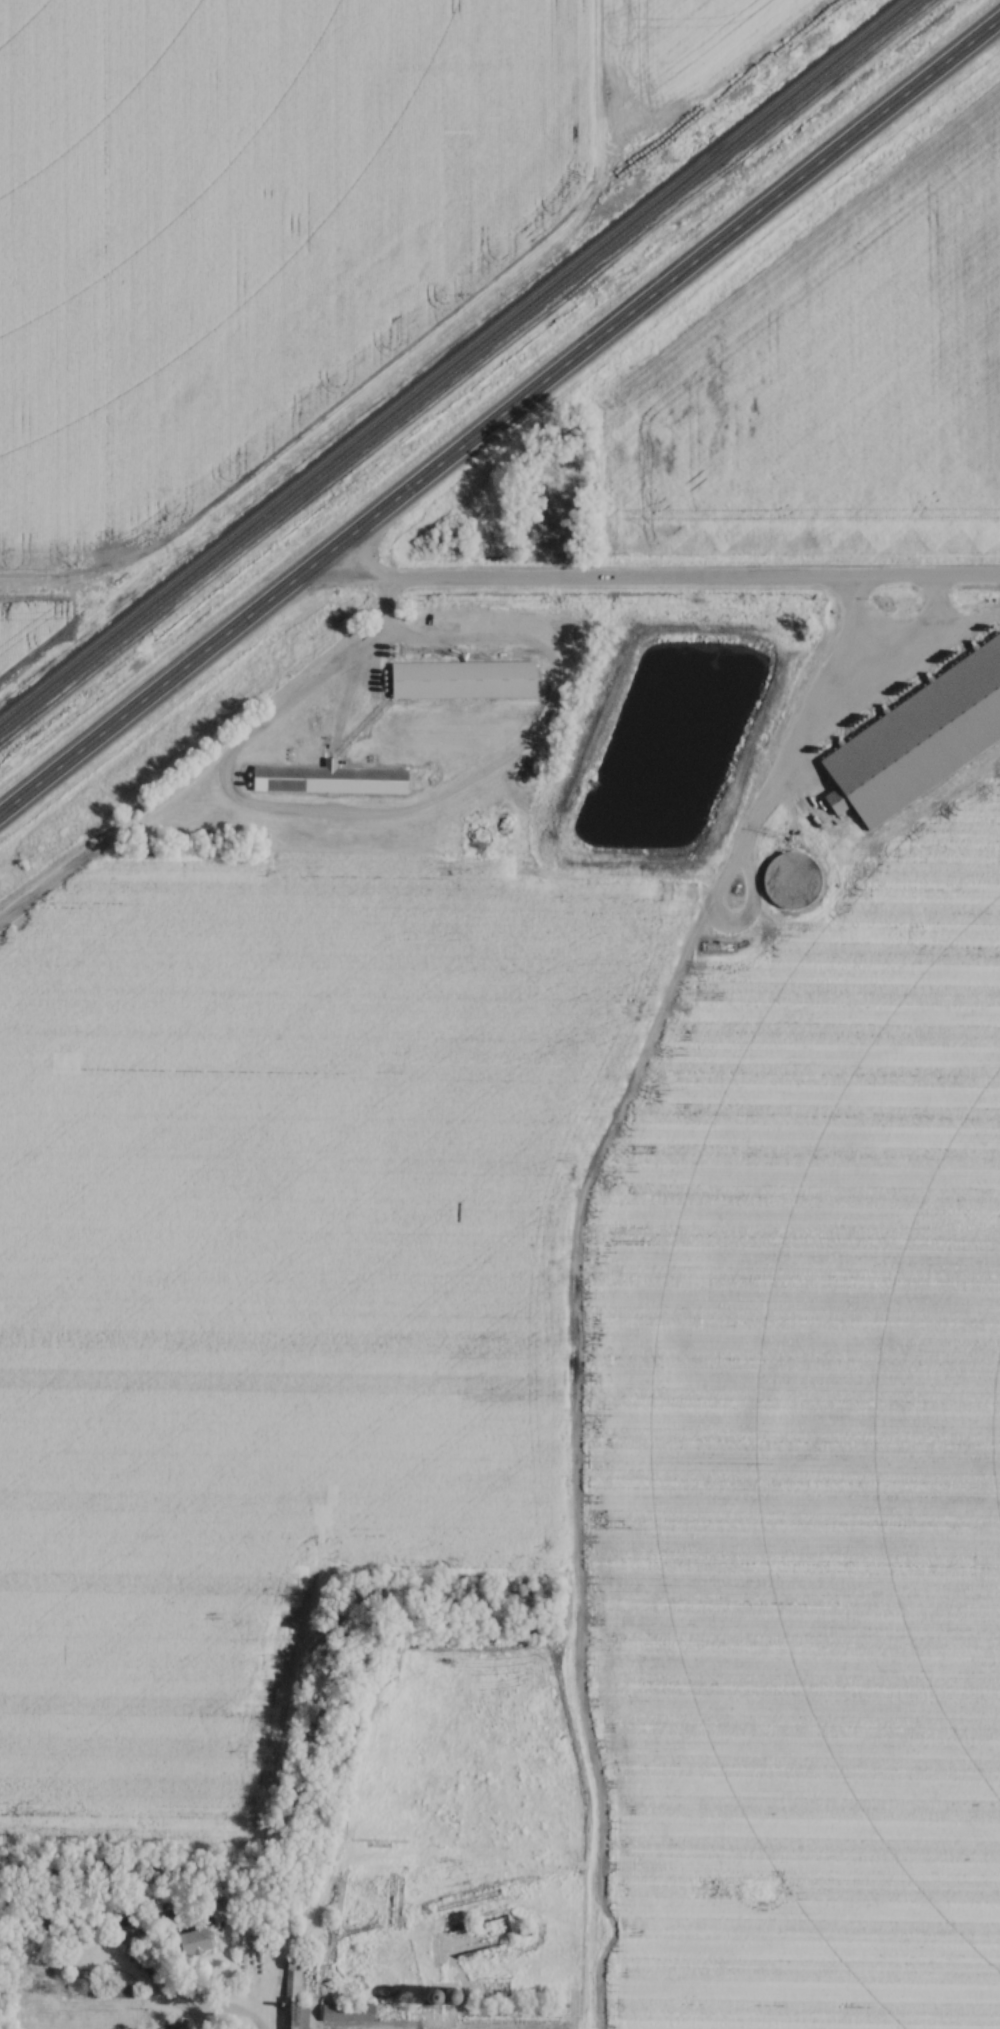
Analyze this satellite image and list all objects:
railway: (451, 358)
railway: (459, 365)
road: (499, 418)
road: (46, 577)
road: (658, 578)
road: (388, 602)
building: (465, 680)
building: (891, 719)
building: (930, 719)
building: (331, 779)
road: (374, 820)
road: (569, 1279)
building: (196, 1941)
building: (297, 1989)
building: (115, 1991)
road: (221, 2012)
building: (373, 2013)
building: (514, 2014)
building: (176, 2027)

